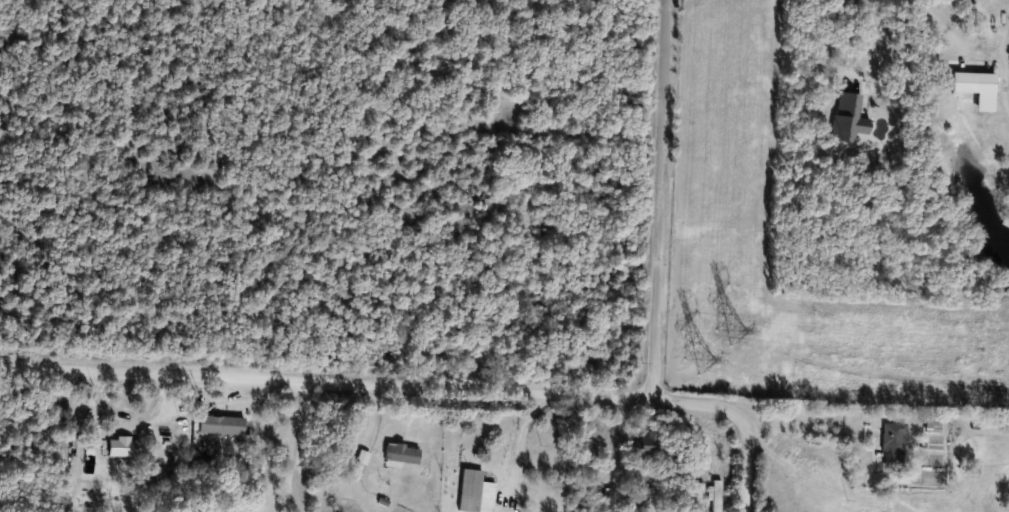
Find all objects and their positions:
road: (939, 25)
road: (876, 34)
road: (661, 201)
power tower: (713, 347)
road: (326, 385)
road: (741, 422)
building: (931, 424)
building: (220, 425)
road: (810, 430)
road: (523, 443)
building: (652, 444)
building: (892, 444)
building: (123, 446)
road: (284, 447)
building: (401, 454)
building: (469, 490)
building: (698, 497)

